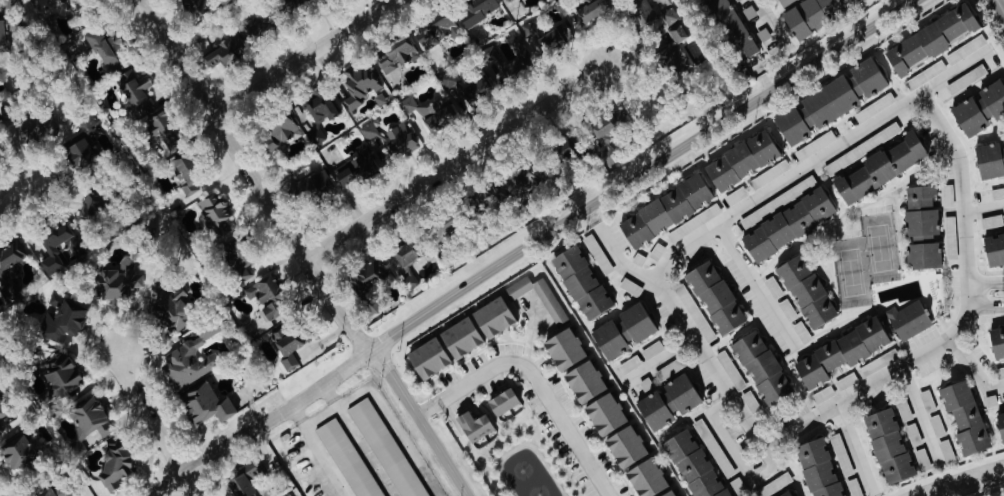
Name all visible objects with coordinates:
road: (759, 1)
building: (786, 2)
building: (194, 7)
road: (999, 7)
building: (476, 9)
building: (590, 11)
building: (750, 11)
building: (812, 11)
building: (643, 12)
building: (255, 25)
road: (772, 27)
building: (732, 28)
building: (436, 30)
building: (549, 33)
building: (764, 33)
building: (1, 34)
building: (930, 38)
building: (673, 41)
building: (99, 47)
building: (967, 48)
building: (225, 50)
building: (395, 52)
building: (515, 56)
road: (306, 58)
building: (926, 74)
building: (742, 75)
building: (967, 77)
building: (359, 83)
building: (134, 87)
building: (468, 89)
building: (831, 100)
building: (320, 106)
building: (875, 106)
building: (979, 107)
building: (430, 111)
building: (612, 117)
building: (87, 120)
building: (0, 124)
building: (32, 127)
building: (892, 128)
building: (161, 130)
building: (277, 132)
building: (392, 137)
building: (816, 144)
building: (562, 147)
building: (79, 152)
road: (817, 159)
building: (990, 159)
building: (740, 160)
road: (454, 163)
building: (357, 165)
building: (879, 168)
building: (770, 173)
building: (998, 193)
road: (13, 195)
building: (737, 195)
building: (948, 197)
building: (91, 205)
building: (664, 210)
road: (983, 210)
building: (217, 215)
building: (992, 220)
building: (695, 222)
building: (787, 224)
building: (922, 227)
building: (592, 243)
road: (531, 245)
building: (74, 248)
building: (227, 249)
building: (994, 249)
road: (300, 250)
building: (50, 251)
building: (12, 253)
building: (404, 263)
building: (242, 274)
building: (368, 275)
building: (118, 280)
building: (581, 282)
building: (774, 286)
road: (752, 288)
building: (806, 290)
road: (985, 290)
building: (539, 295)
building: (267, 298)
building: (709, 299)
building: (173, 309)
building: (789, 309)
building: (493, 316)
building: (62, 318)
road: (963, 318)
building: (909, 319)
building: (622, 331)
building: (803, 331)
road: (531, 334)
building: (459, 337)
building: (996, 340)
building: (287, 345)
building: (563, 348)
building: (653, 349)
building: (839, 353)
building: (427, 358)
building: (190, 359)
road: (657, 361)
building: (879, 362)
building: (630, 363)
building: (761, 366)
building: (731, 369)
road: (974, 369)
building: (1000, 371)
building: (59, 374)
road: (533, 378)
building: (847, 379)
building: (584, 381)
building: (646, 383)
building: (823, 393)
road: (727, 396)
building: (928, 399)
building: (751, 400)
building: (501, 401)
building: (668, 401)
building: (206, 404)
road: (150, 408)
building: (904, 409)
road: (387, 413)
building: (604, 413)
road: (918, 414)
building: (964, 416)
building: (4, 417)
building: (89, 417)
road: (322, 422)
building: (938, 424)
building: (474, 425)
building: (1000, 426)
building: (914, 433)
building: (624, 444)
building: (888, 446)
building: (387, 448)
road: (853, 450)
building: (947, 450)
building: (17, 451)
road: (316, 451)
building: (349, 458)
building: (923, 459)
building: (694, 463)
building: (113, 467)
building: (256, 468)
building: (818, 469)
building: (645, 476)
road: (963, 481)
building: (98, 485)
road: (198, 485)
building: (774, 485)
building: (854, 487)
building: (667, 492)
building: (46, 493)
building: (288, 494)
building: (787, 494)

